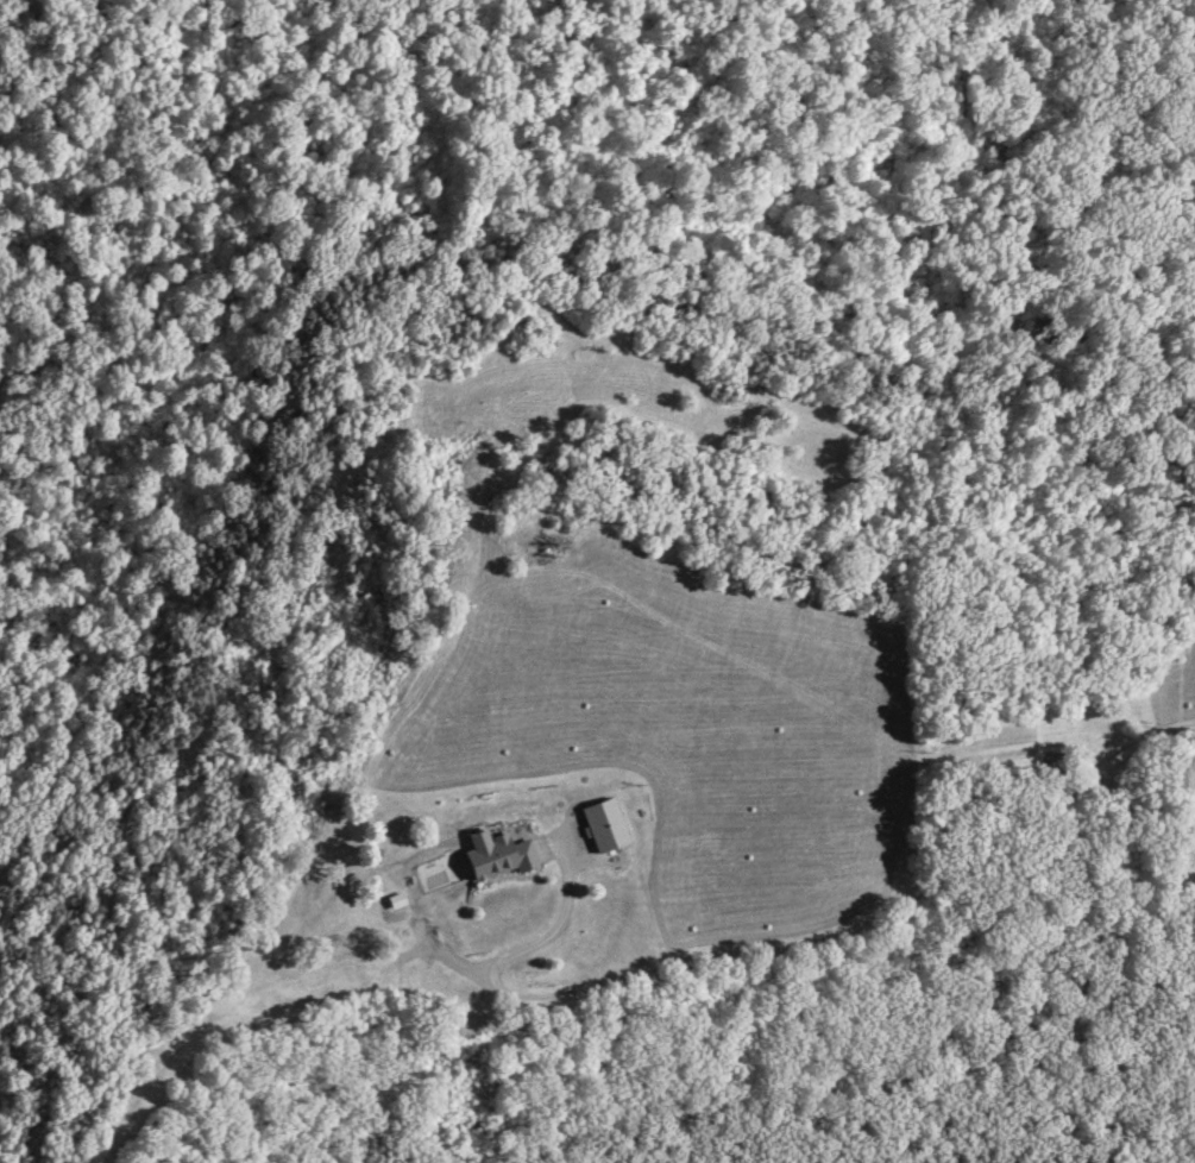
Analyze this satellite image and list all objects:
building: (1062, 766)
building: (504, 857)
road: (820, 950)

